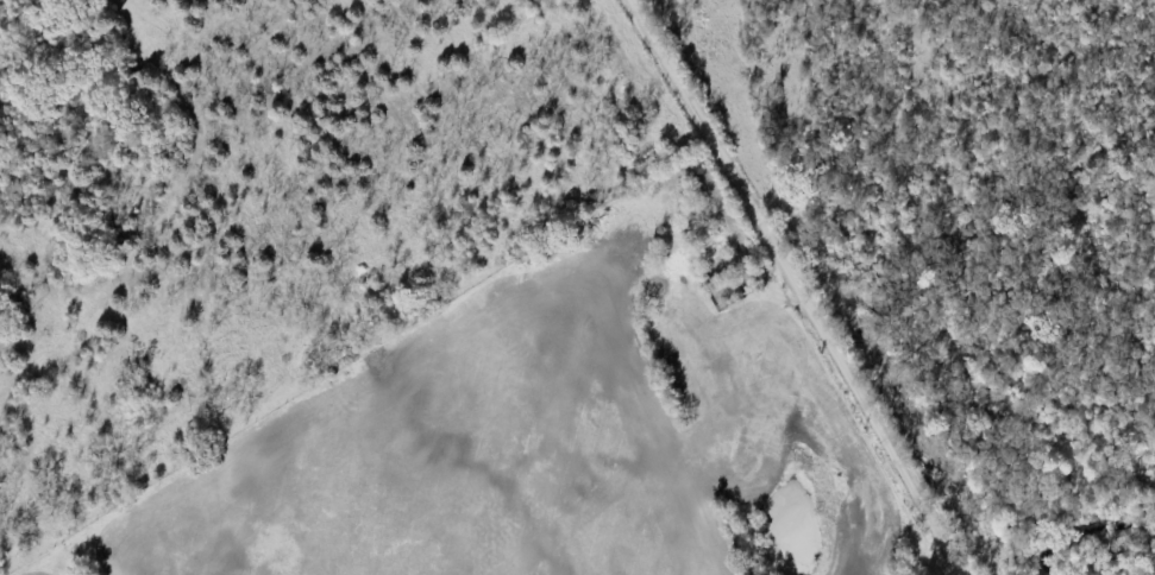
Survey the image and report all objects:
road: (809, 286)

